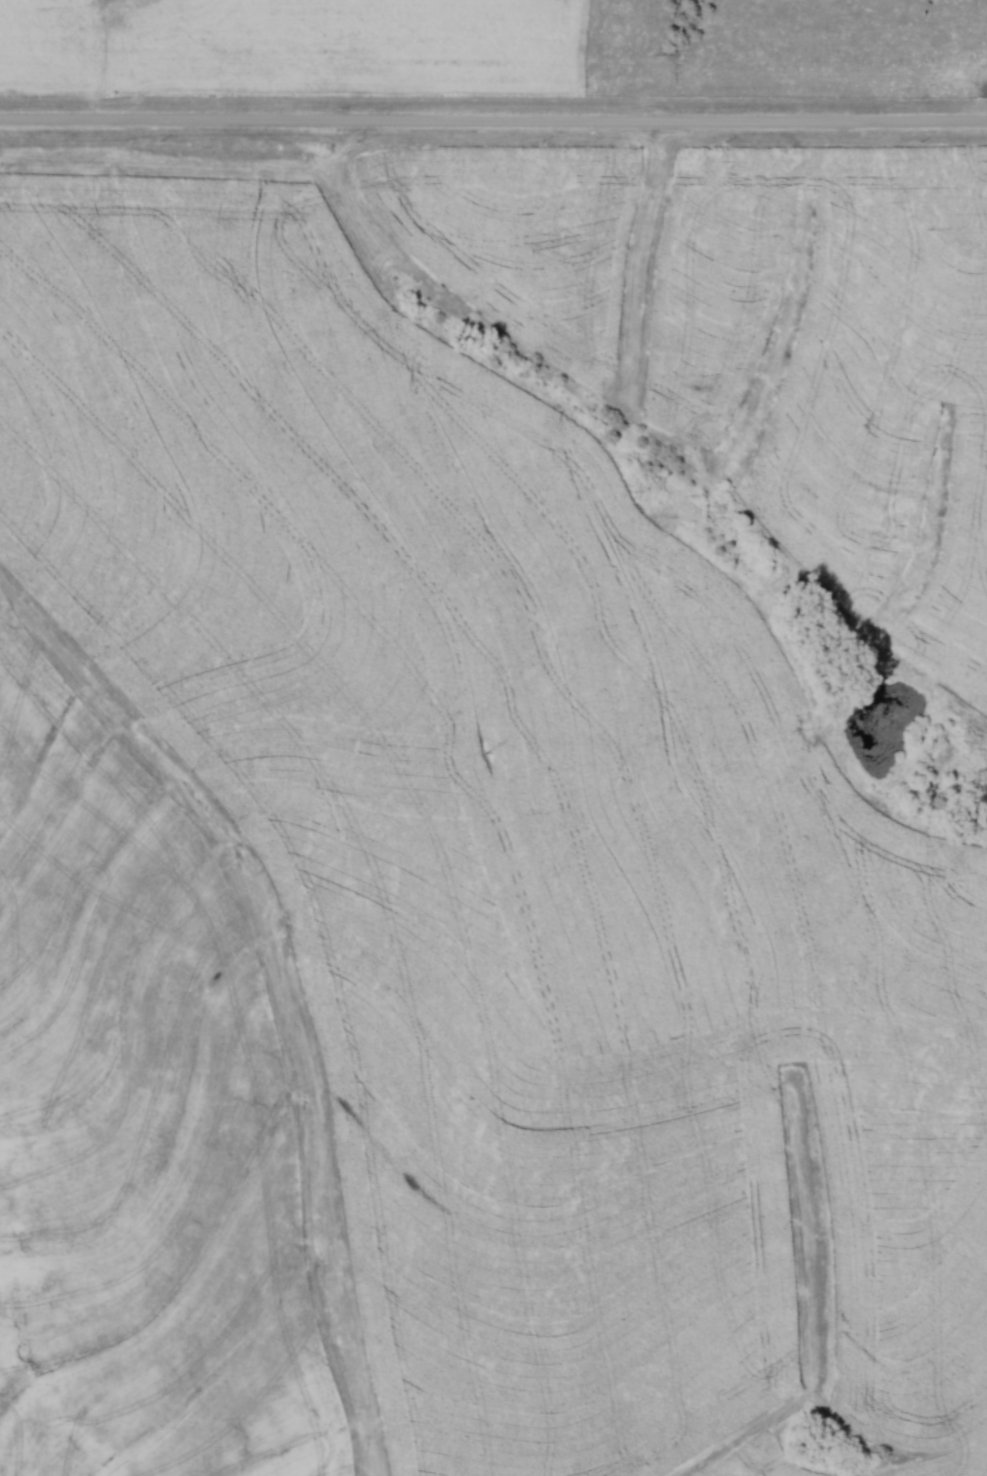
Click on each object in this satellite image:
road: (493, 115)

